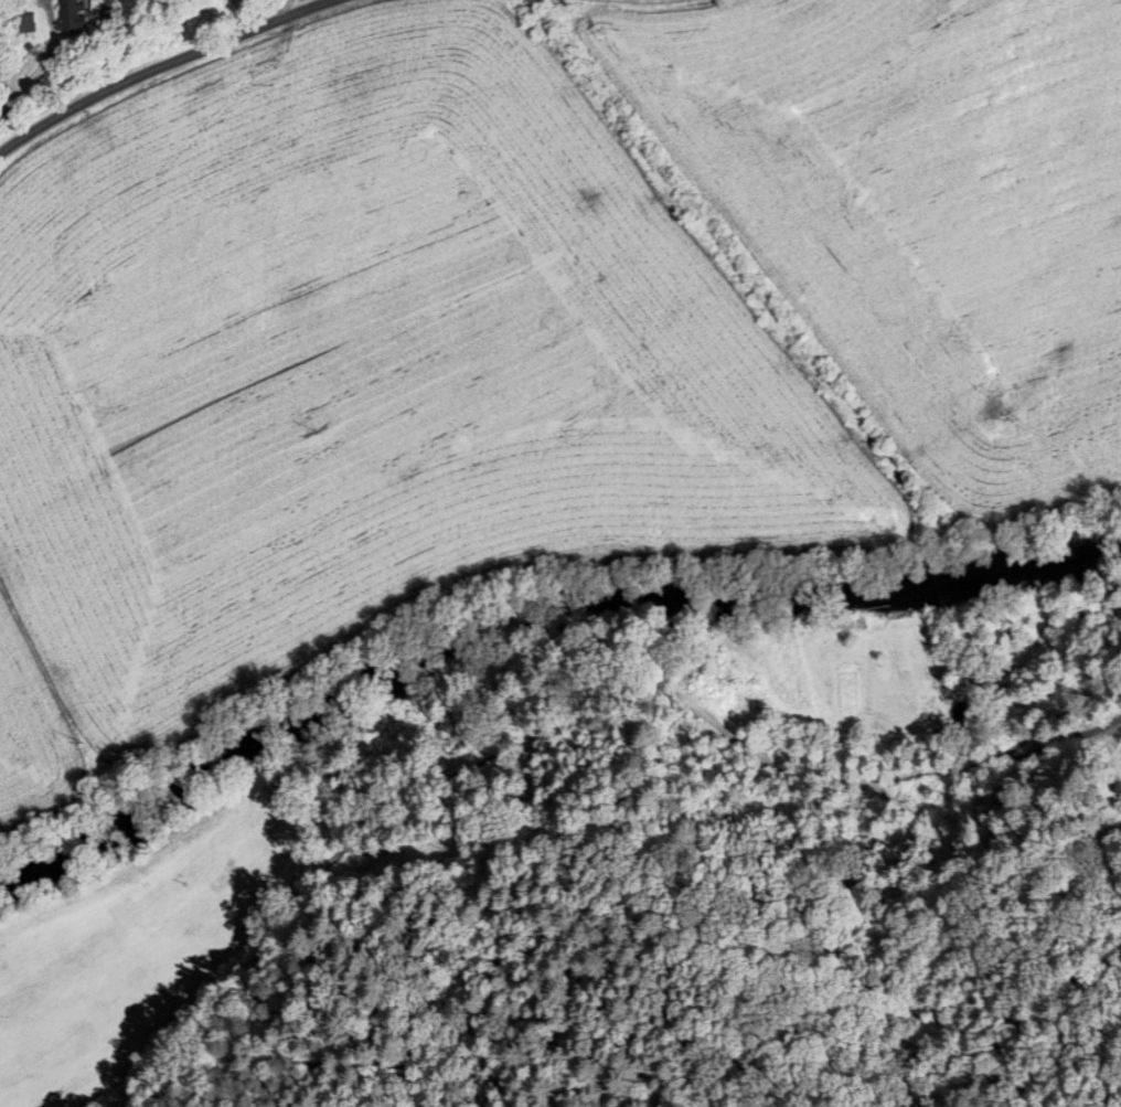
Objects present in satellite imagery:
road: (282, 10)
building: (70, 18)
road: (160, 66)
river: (531, 597)
road: (1066, 712)
road: (555, 727)

